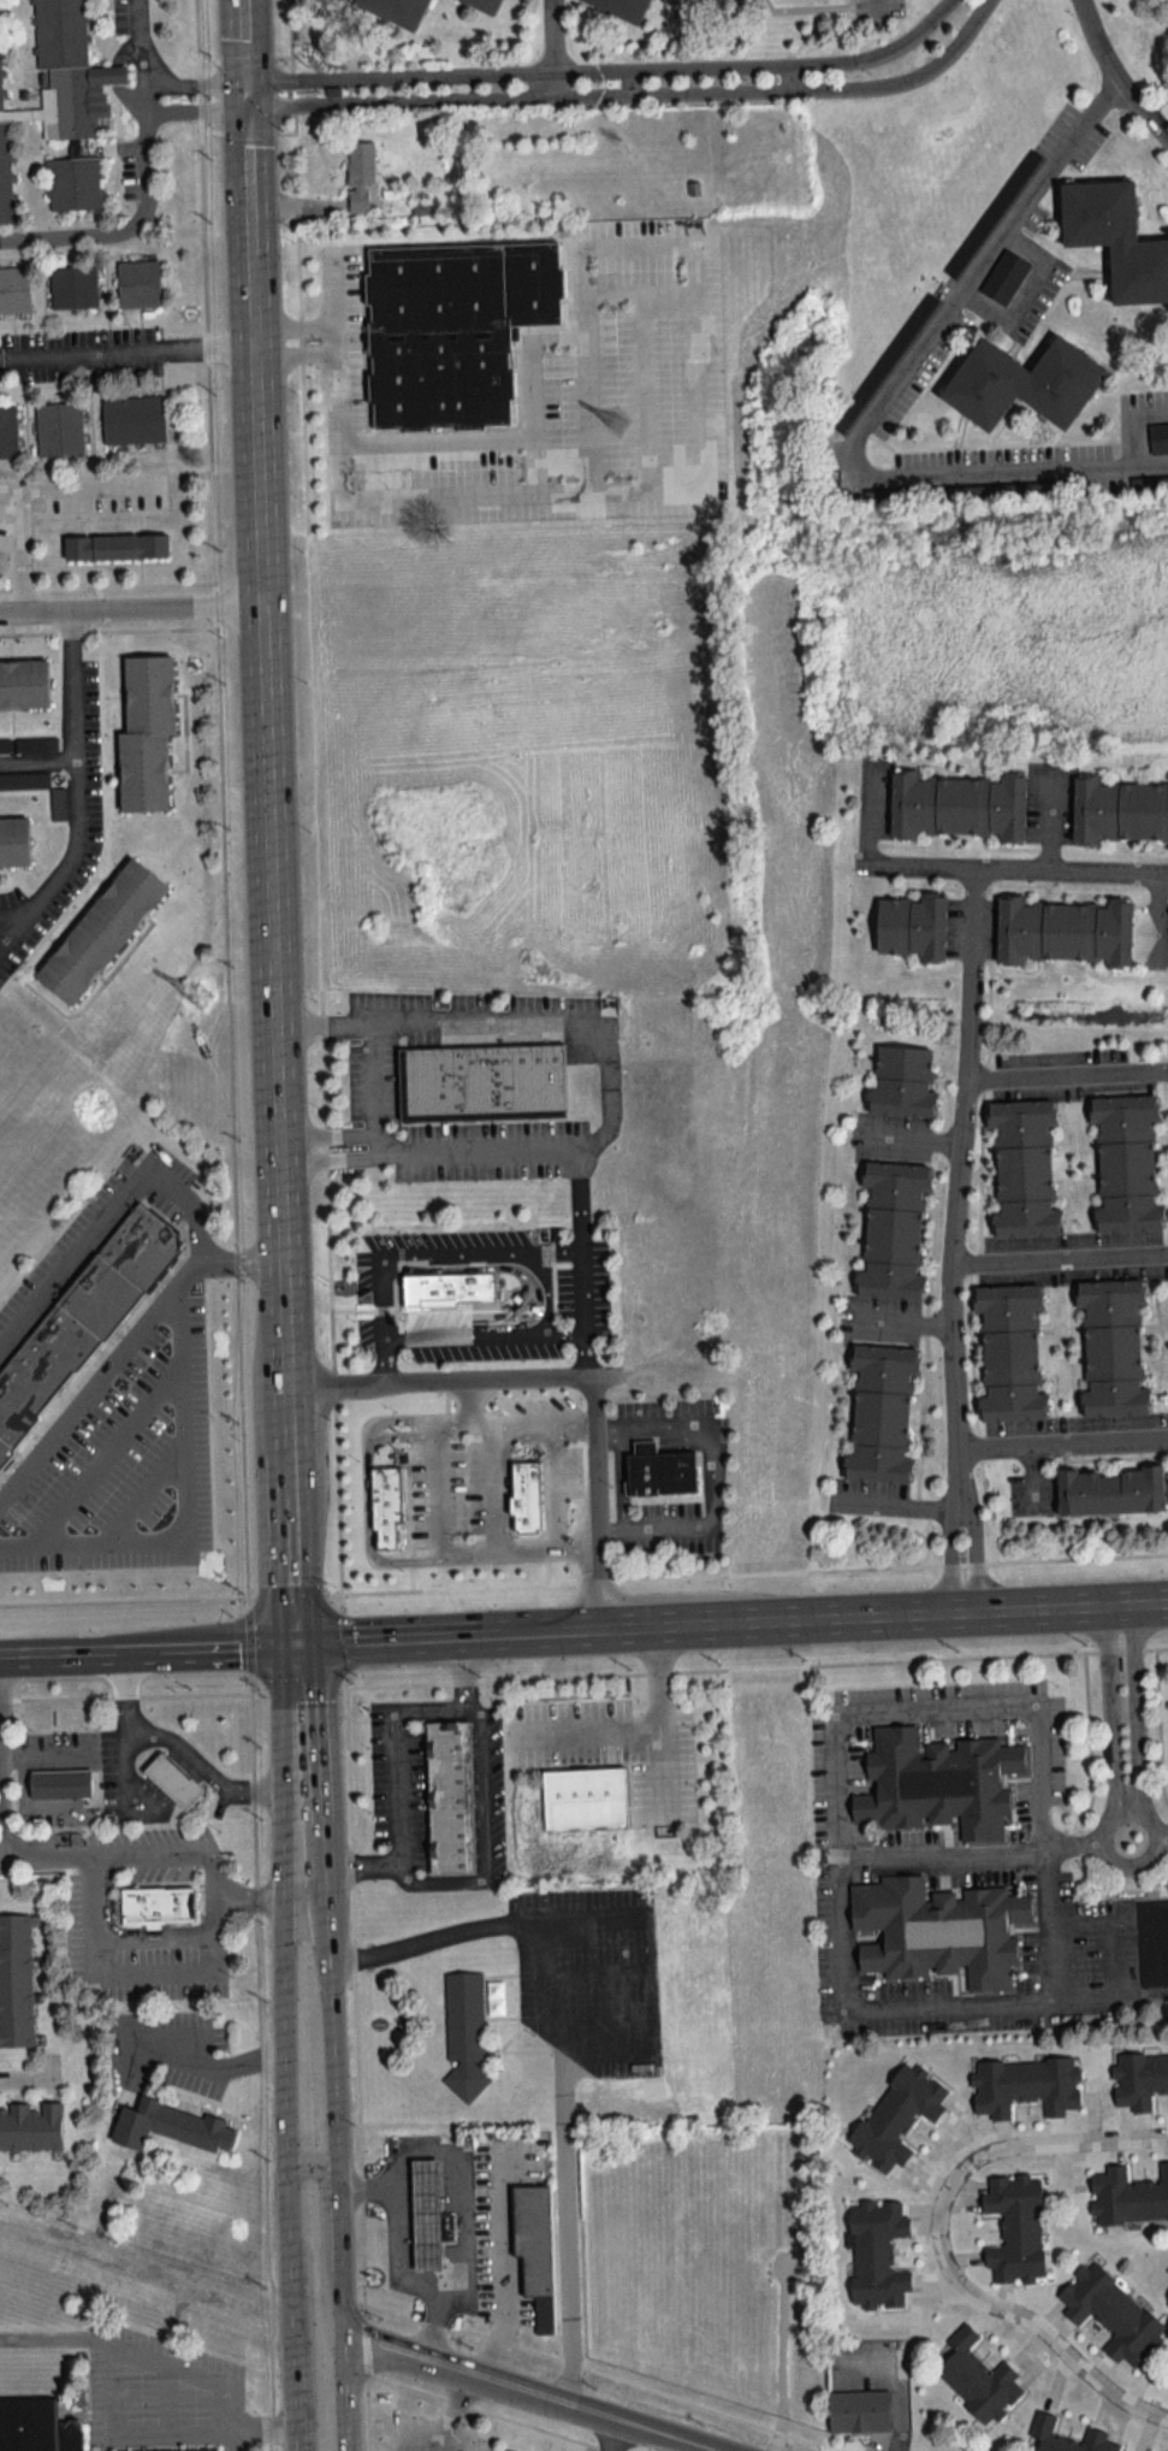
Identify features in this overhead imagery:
building: (713, 2)
building: (486, 5)
building: (622, 8)
road: (873, 10)
building: (397, 11)
road: (552, 49)
road: (603, 70)
road: (1111, 77)
traffic signals: (241, 81)
road: (190, 82)
road: (632, 96)
traffic signals: (241, 108)
road: (191, 111)
building: (360, 176)
road: (147, 183)
building: (1116, 240)
building: (1004, 276)
building: (138, 284)
building: (73, 287)
building: (14, 290)
road: (652, 290)
road: (1024, 295)
road: (296, 329)
building: (456, 329)
road: (583, 333)
road: (297, 354)
road: (123, 355)
building: (1024, 384)
building: (868, 386)
parking lot: (559, 388)
road: (879, 402)
road: (597, 412)
building: (132, 420)
power tower: (617, 424)
road: (1134, 424)
building: (59, 429)
building: (7, 432)
building: (1158, 439)
road: (544, 463)
road: (77, 483)
building: (1155, 485)
road: (574, 490)
road: (19, 548)
building: (118, 548)
road: (128, 610)
building: (22, 680)
building: (142, 728)
road: (37, 758)
road: (76, 793)
road: (221, 798)
building: (959, 805)
building: (1120, 809)
road: (868, 813)
road: (1049, 819)
road: (262, 820)
building: (12, 834)
road: (1016, 874)
road: (13, 919)
road: (1164, 920)
building: (96, 927)
building: (913, 927)
building: (1065, 931)
power tower: (203, 994)
road: (611, 1039)
road: (1065, 1071)
building: (481, 1077)
building: (903, 1081)
road: (374, 1089)
road: (909, 1136)
road: (431, 1152)
building: (1127, 1163)
building: (1024, 1169)
road: (953, 1192)
road: (107, 1207)
building: (894, 1230)
building: (138, 1244)
road: (1057, 1258)
building: (451, 1282)
road: (330, 1289)
road: (545, 1291)
building: (96, 1294)
road: (383, 1295)
road: (902, 1324)
building: (1114, 1348)
road: (124, 1351)
building: (1012, 1353)
road: (384, 1357)
building: (38, 1365)
road: (558, 1372)
road: (472, 1396)
building: (882, 1413)
road: (700, 1423)
road: (1062, 1440)
building: (4, 1448)
road: (106, 1454)
building: (659, 1470)
road: (434, 1476)
building: (1111, 1490)
road: (143, 1493)
building: (404, 1494)
road: (183, 1499)
building: (386, 1504)
road: (896, 1504)
road: (656, 1524)
road: (973, 1559)
road: (954, 1560)
road: (989, 1563)
road: (399, 1591)
road: (291, 1595)
road: (123, 1602)
road: (888, 1614)
road: (447, 1637)
road: (343, 1638)
traffic signals: (287, 1642)
road: (247, 1644)
road: (143, 1649)
road: (989, 1655)
road: (298, 1688)
road: (124, 1695)
road: (937, 1706)
road: (658, 1714)
road: (595, 1731)
road: (180, 1747)
road: (396, 1750)
road: (291, 1753)
building: (167, 1777)
building: (59, 1779)
building: (936, 1782)
building: (447, 1795)
building: (582, 1795)
road: (351, 1803)
road: (1164, 1835)
road: (105, 1854)
road: (485, 1855)
road: (1131, 1860)
road: (209, 1874)
road: (296, 1882)
road: (254, 1897)
building: (154, 1901)
road: (211, 1919)
building: (938, 1931)
road: (105, 1944)
road: (632, 1974)
building: (16, 1980)
road: (1110, 1996)
road: (872, 2004)
road: (331, 2032)
building: (464, 2034)
road: (561, 2051)
road: (207, 2066)
road: (261, 2072)
road: (28, 2077)
building: (1139, 2080)
building: (1026, 2086)
road: (284, 2110)
building: (897, 2116)
building: (166, 2122)
building: (30, 2128)
road: (1056, 2138)
road: (312, 2166)
road: (461, 2193)
building: (1130, 2197)
building: (427, 2215)
building: (1016, 2228)
building: (535, 2248)
road: (398, 2255)
building: (877, 2255)
road: (338, 2258)
road: (503, 2273)
building: (1113, 2313)
road: (1013, 2314)
road: (53, 2337)
road: (368, 2338)
road: (598, 2369)
road: (109, 2374)
building: (978, 2379)
road: (171, 2388)
road: (292, 2388)
road: (536, 2393)
road: (340, 2394)
road: (241, 2411)
road: (494, 2411)
building: (859, 2411)
road: (447, 2416)
building: (37, 2423)
road: (268, 2425)
building: (1043, 2431)
road: (616, 2434)
building: (173, 2450)

